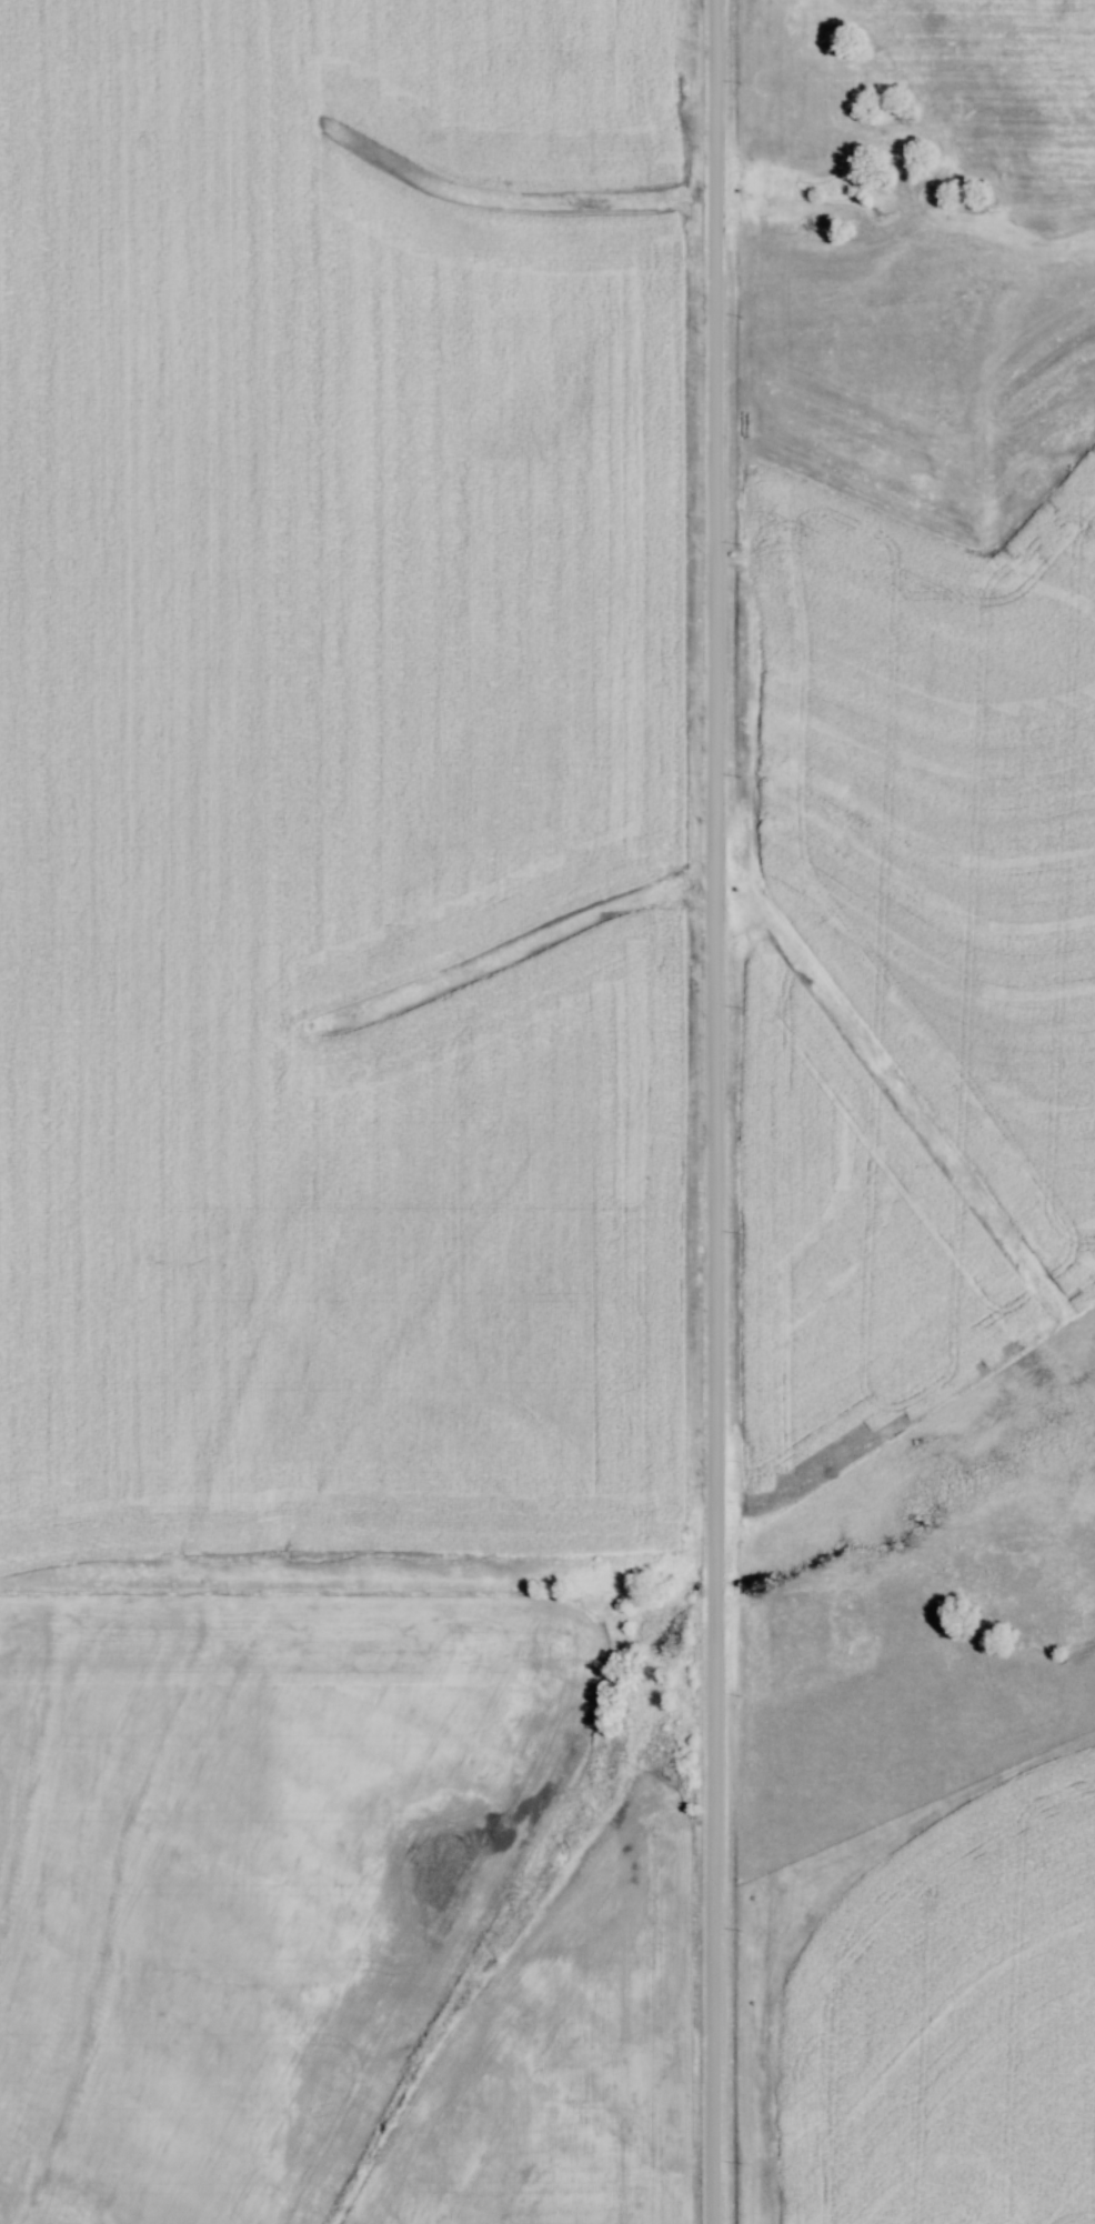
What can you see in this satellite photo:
road: (706, 1112)

